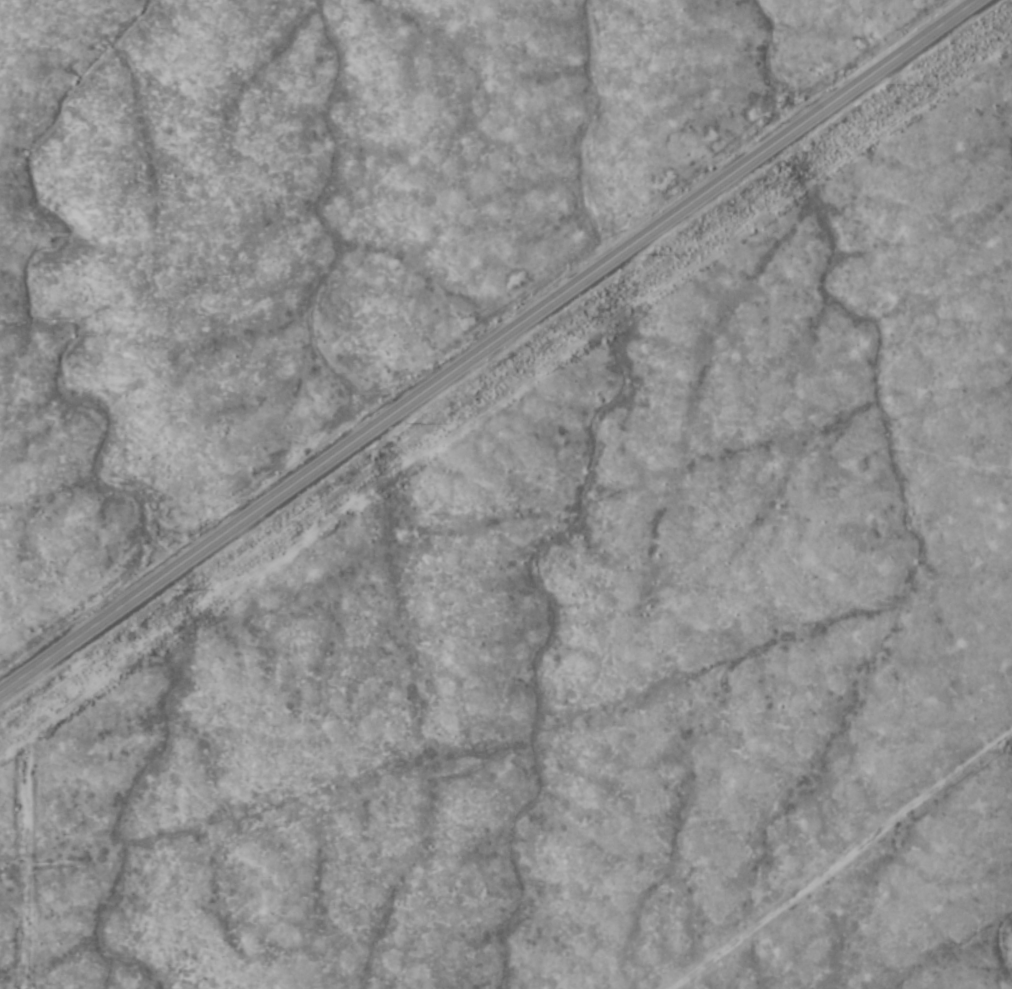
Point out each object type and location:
road: (703, 191)
road: (216, 537)
road: (849, 867)

